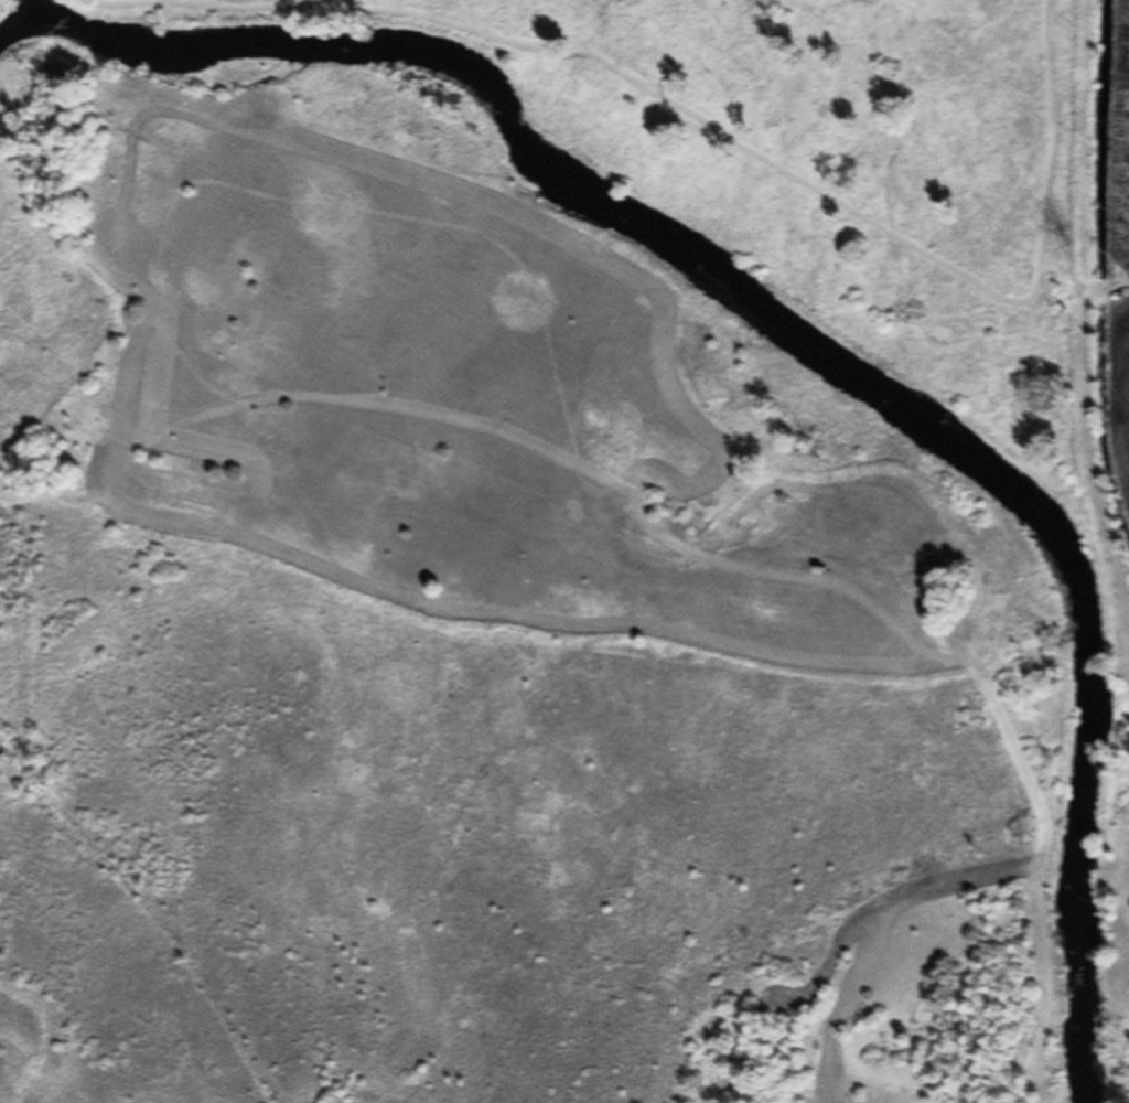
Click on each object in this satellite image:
river: (797, 332)

